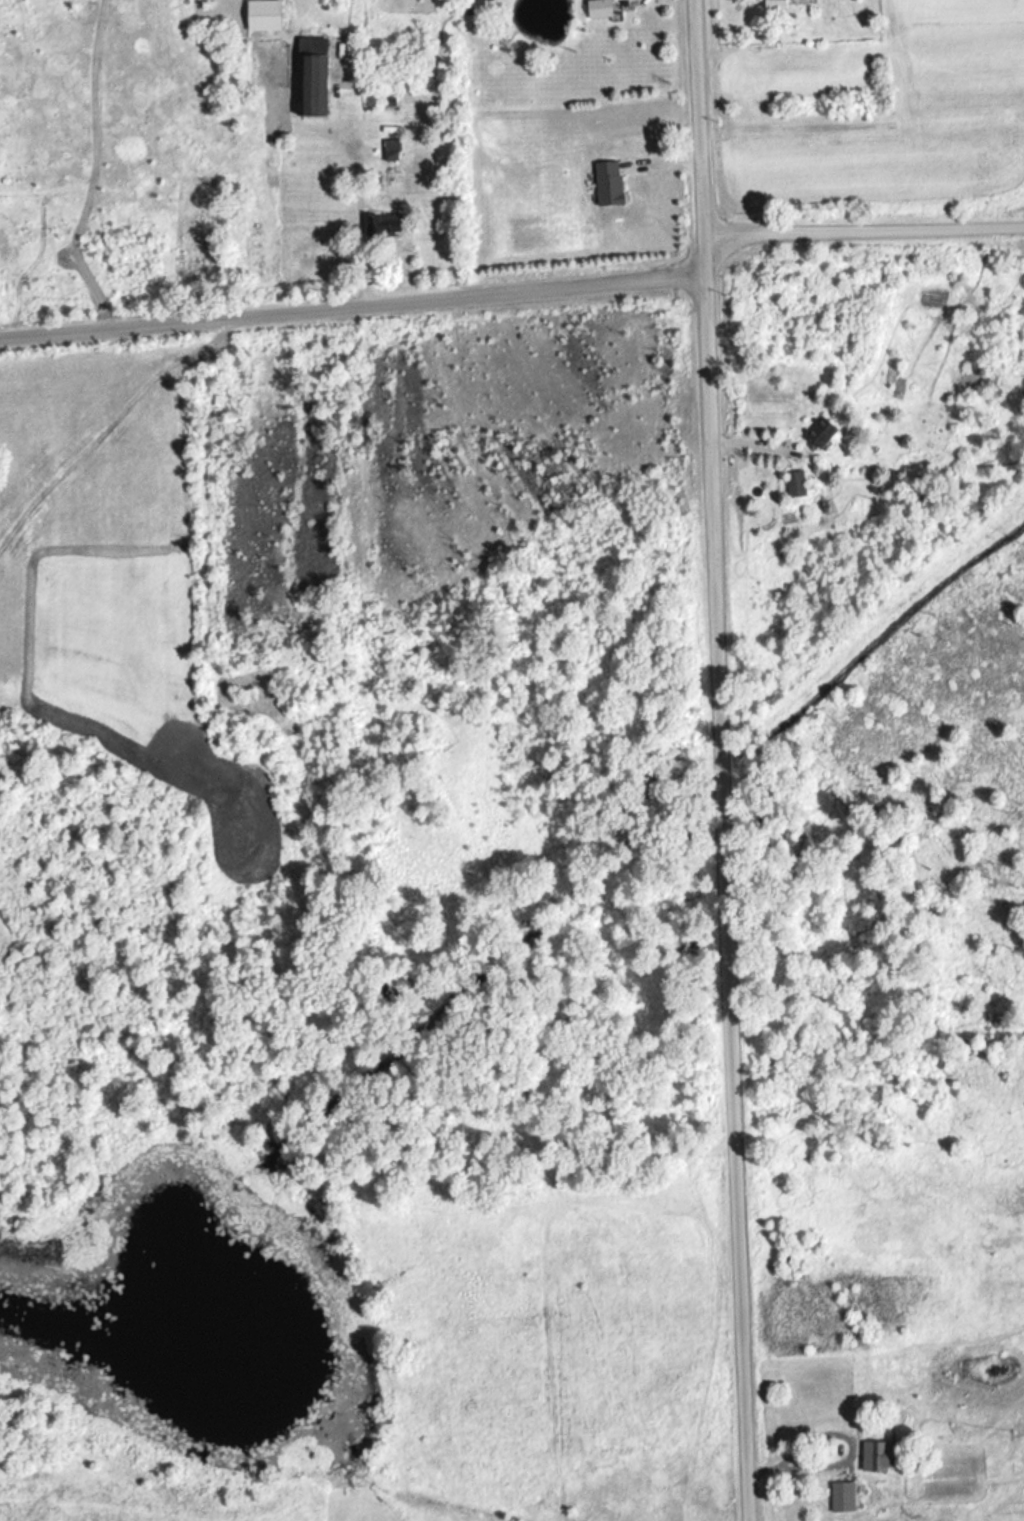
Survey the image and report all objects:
building: (781, 5)
building: (602, 9)
building: (267, 16)
building: (315, 78)
road: (695, 117)
building: (394, 152)
building: (612, 185)
building: (387, 227)
road: (861, 230)
road: (350, 304)
building: (823, 436)
building: (798, 487)
road: (721, 878)
building: (885, 1459)
road: (853, 1463)
building: (845, 1500)

